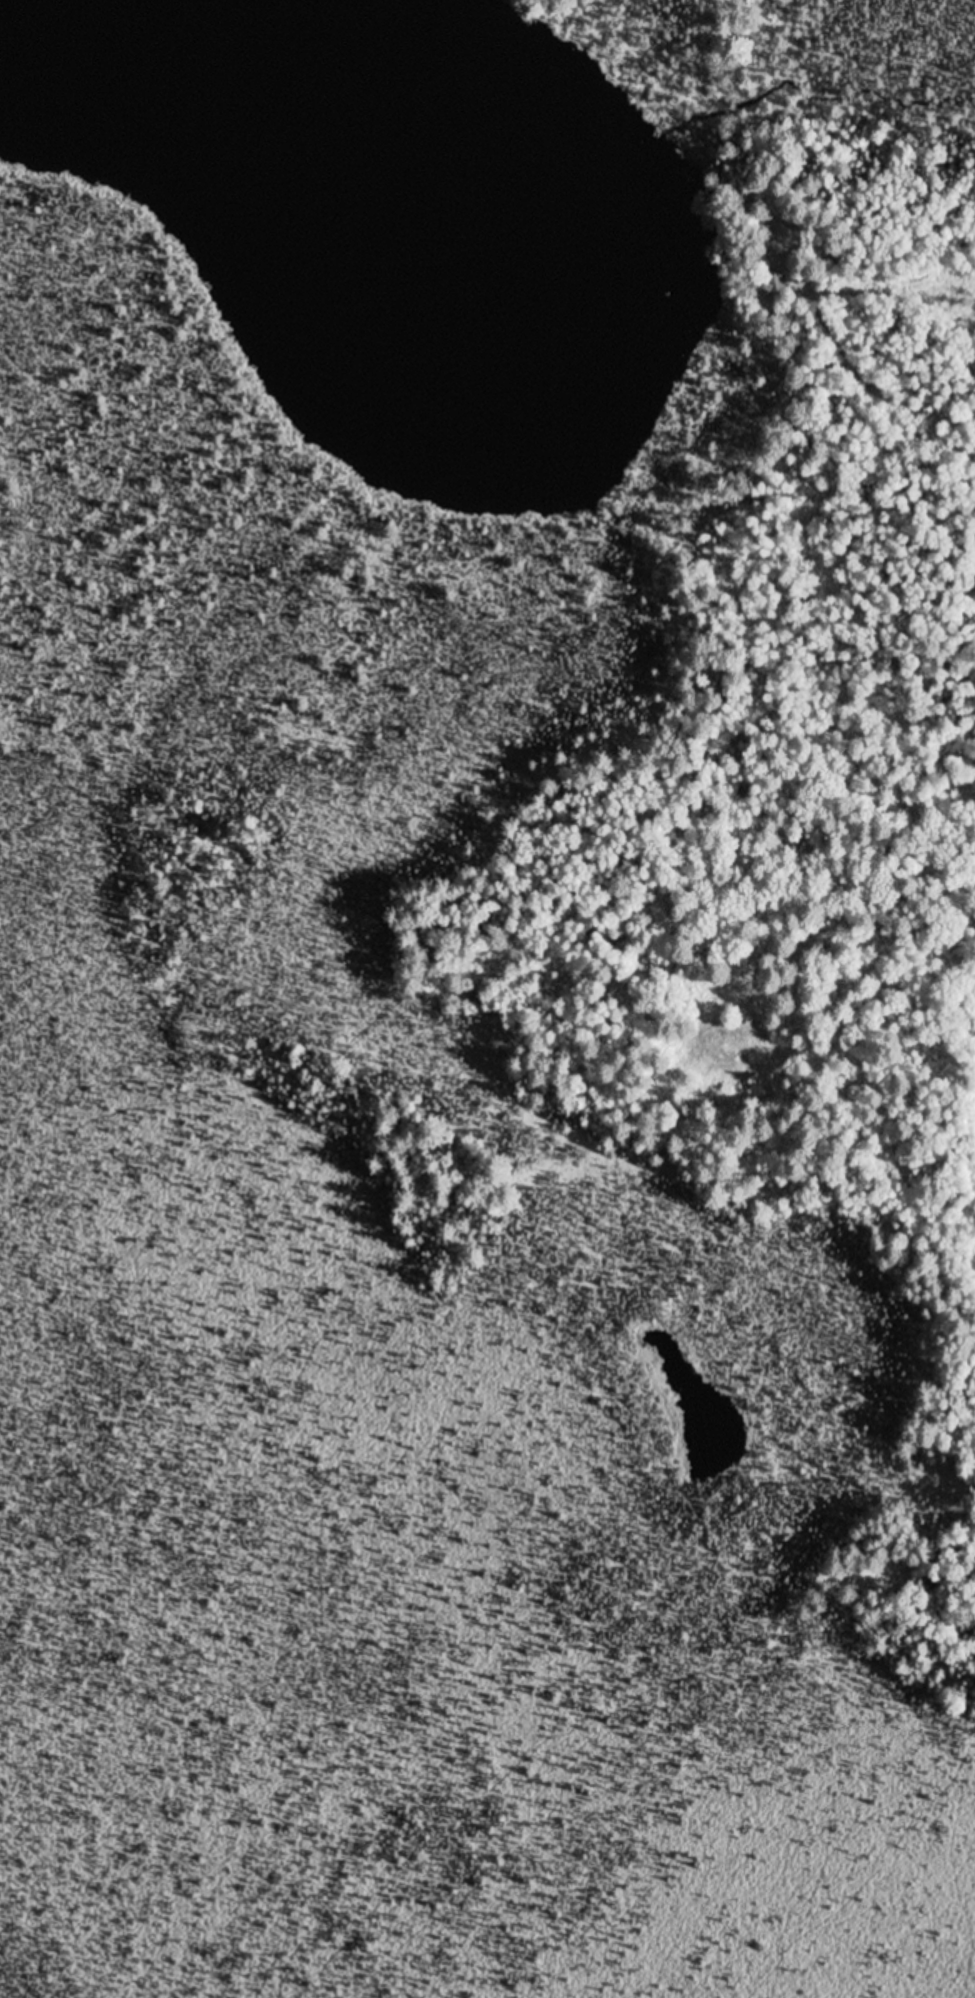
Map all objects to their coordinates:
road: (848, 358)

